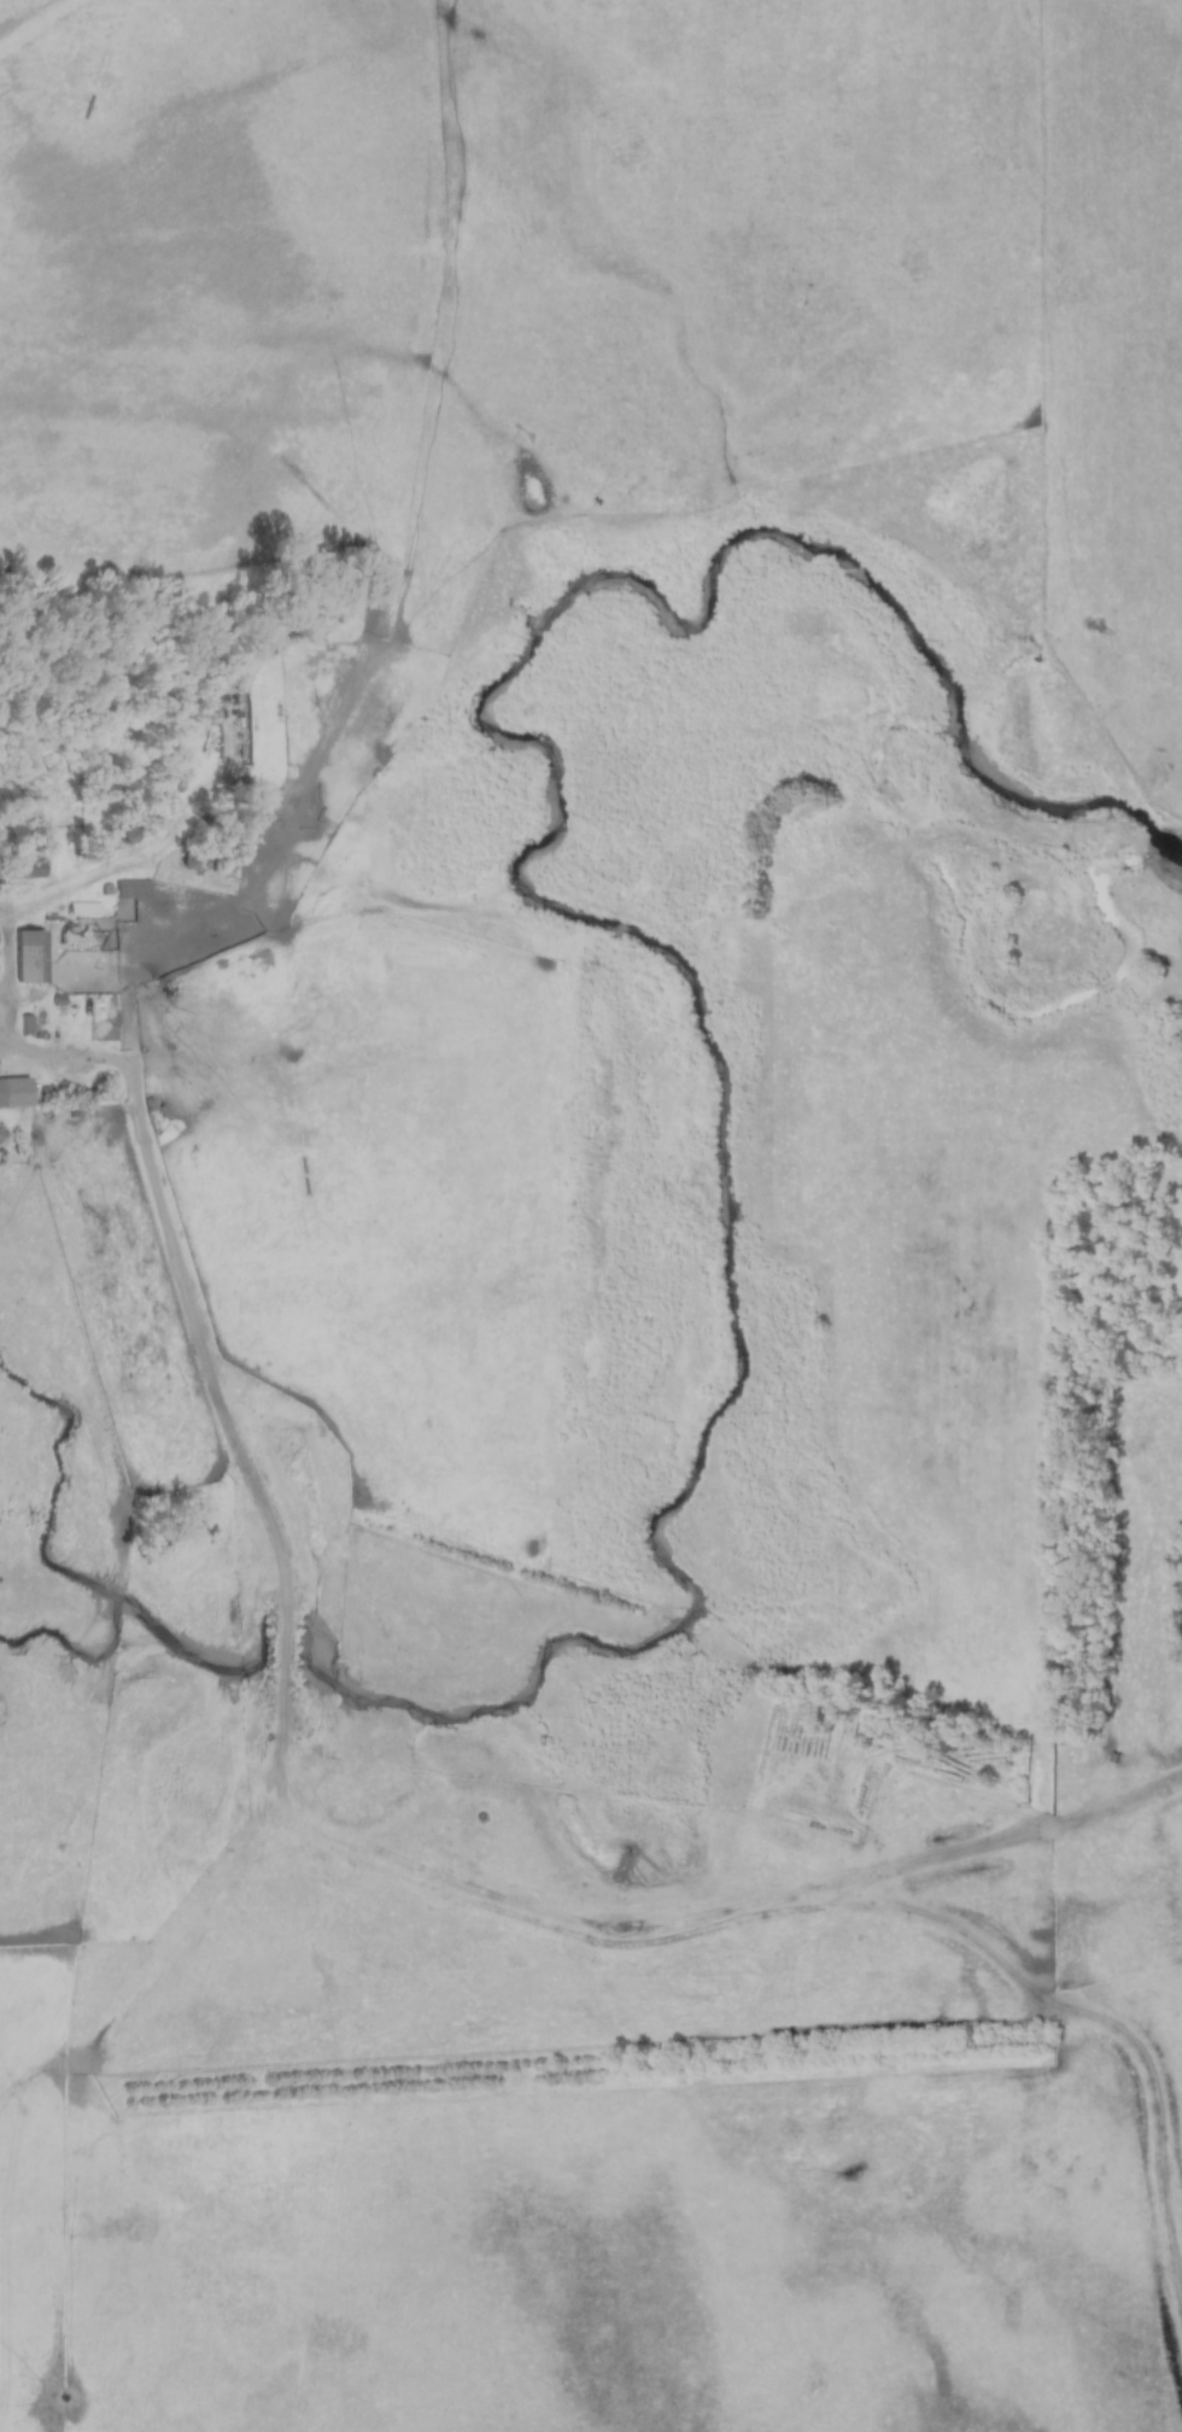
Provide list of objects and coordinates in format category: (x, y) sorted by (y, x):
building: (25, 957)
river: (725, 1112)

